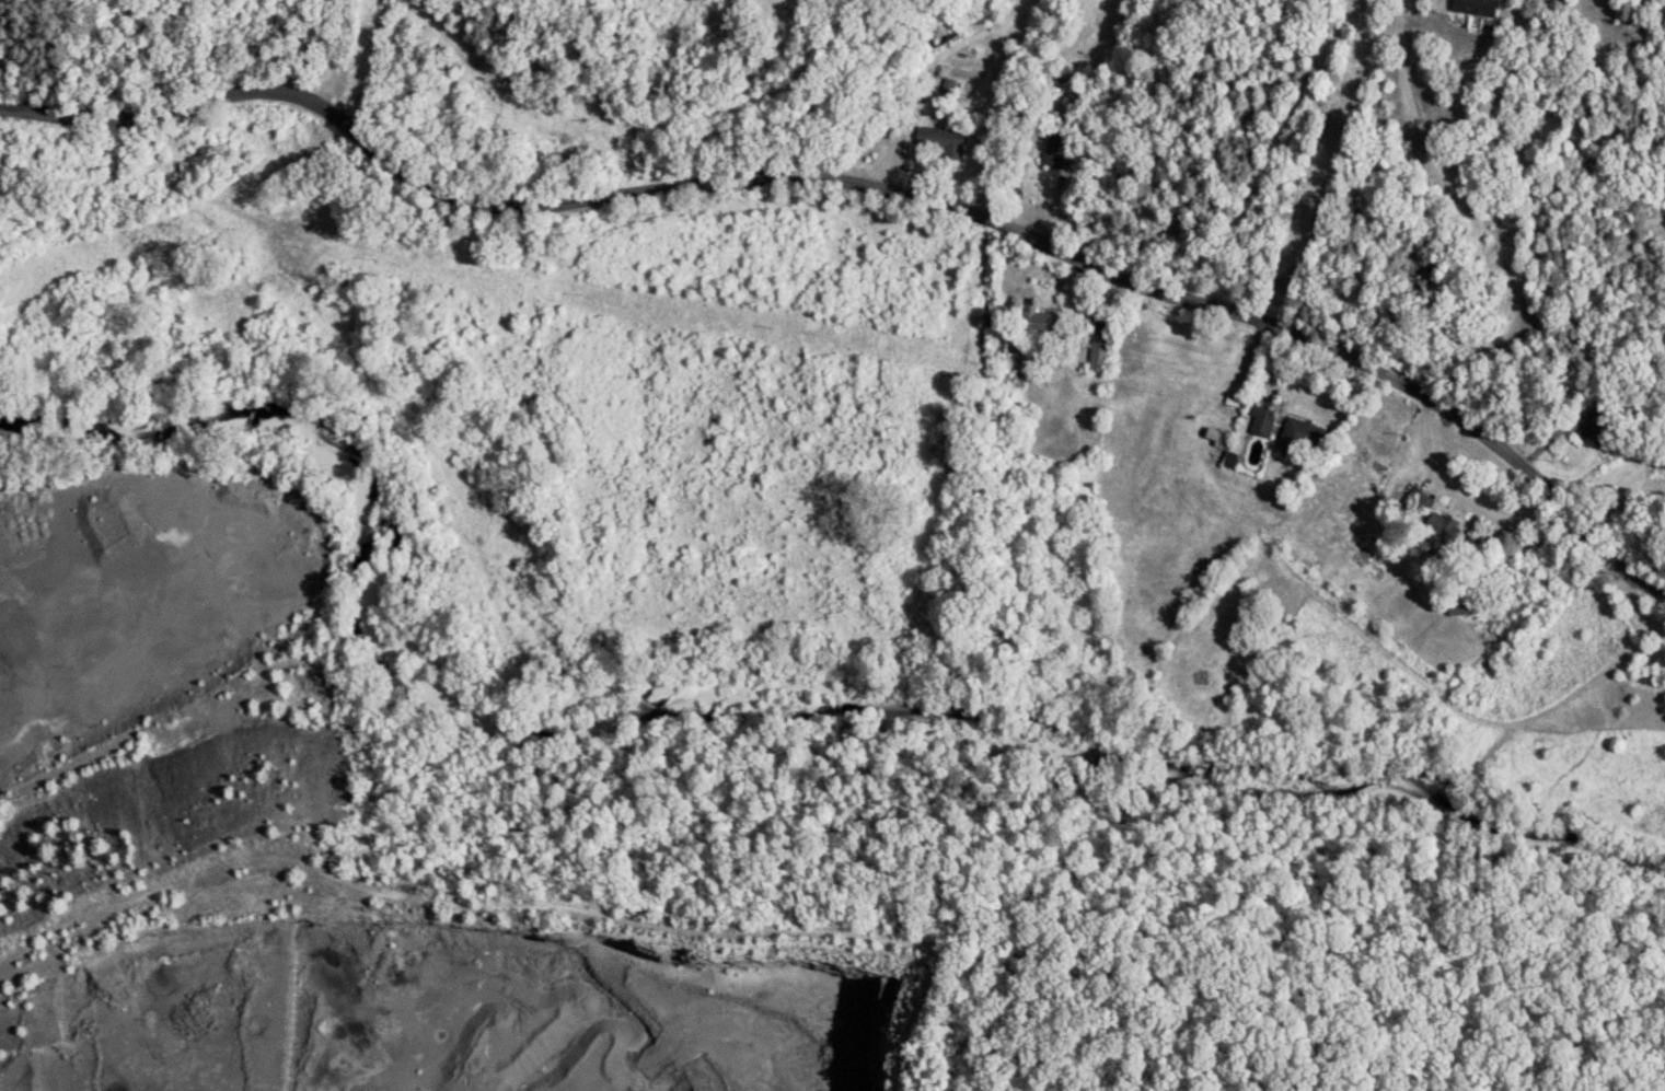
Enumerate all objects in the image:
building: (1475, 7)
road: (740, 91)
building: (939, 140)
building: (1053, 150)
road: (867, 185)
building: (1036, 320)
building: (1098, 346)
building: (1260, 421)
building: (1216, 437)
building: (1298, 438)
road: (1454, 495)
building: (1446, 529)
building: (1461, 605)
road: (383, 1064)

